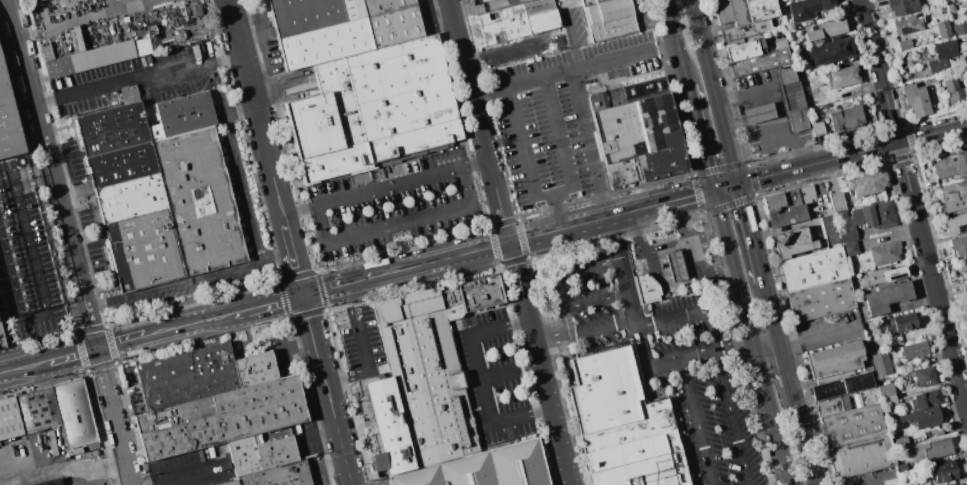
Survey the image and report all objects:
building: (485, 0)
building: (557, 0)
building: (562, 0)
building: (32, 1)
building: (384, 6)
building: (900, 7)
building: (808, 9)
building: (352, 10)
building: (304, 16)
building: (745, 17)
building: (608, 19)
building: (519, 21)
road: (70, 22)
building: (908, 25)
building: (394, 26)
building: (960, 29)
building: (826, 30)
building: (941, 30)
rooftop solar panel: (905, 31)
building: (325, 43)
road: (677, 43)
building: (904, 45)
building: (831, 50)
building: (943, 55)
building: (756, 57)
building: (97, 58)
road: (574, 68)
building: (966, 71)
building: (961, 75)
building: (844, 77)
road: (138, 78)
building: (134, 91)
road: (715, 92)
building: (954, 92)
building: (792, 99)
building: (916, 100)
road: (256, 106)
road: (241, 109)
building: (373, 109)
building: (758, 113)
road: (760, 113)
building: (185, 114)
parking lot: (560, 118)
building: (846, 119)
building: (8, 120)
building: (112, 129)
building: (818, 129)
building: (155, 132)
building: (637, 132)
road: (701, 138)
road: (794, 139)
road: (591, 143)
road: (852, 154)
building: (122, 165)
building: (950, 167)
road: (25, 170)
road: (52, 174)
road: (402, 181)
traffic signals: (739, 184)
building: (867, 184)
road: (726, 188)
road: (244, 189)
traffic signals: (714, 192)
road: (554, 194)
building: (954, 196)
building: (131, 198)
building: (179, 198)
road: (686, 198)
building: (837, 201)
parking lot: (393, 204)
road: (915, 205)
building: (788, 206)
road: (300, 208)
road: (560, 211)
building: (864, 219)
road: (399, 223)
building: (956, 225)
building: (829, 230)
road: (750, 232)
road: (288, 234)
road: (509, 242)
building: (792, 242)
road: (664, 243)
building: (959, 246)
building: (851, 249)
building: (144, 250)
building: (885, 253)
road: (692, 255)
parking lot: (25, 257)
road: (278, 260)
building: (675, 266)
building: (813, 268)
road: (402, 269)
building: (887, 274)
road: (38, 280)
road: (174, 287)
building: (964, 287)
building: (646, 288)
road: (629, 291)
road: (564, 292)
building: (480, 293)
traffic signals: (304, 295)
building: (887, 297)
building: (821, 300)
parking lot: (582, 301)
building: (966, 301)
road: (771, 313)
road: (567, 323)
building: (902, 323)
road: (599, 328)
road: (817, 337)
road: (750, 338)
road: (121, 341)
road: (550, 342)
road: (765, 345)
road: (298, 346)
traffic signals: (97, 348)
road: (734, 348)
road: (365, 349)
building: (915, 349)
road: (74, 354)
road: (682, 359)
building: (834, 362)
road: (783, 364)
building: (881, 364)
road: (720, 365)
road: (25, 366)
building: (255, 369)
road: (323, 369)
parking lot: (495, 372)
building: (427, 373)
road: (497, 375)
building: (187, 376)
building: (925, 376)
parking lot: (697, 377)
road: (480, 378)
building: (843, 386)
building: (885, 390)
building: (925, 399)
building: (888, 402)
building: (833, 407)
building: (37, 410)
building: (75, 414)
road: (113, 416)
building: (929, 416)
building: (220, 418)
building: (9, 419)
road: (699, 422)
building: (622, 424)
building: (851, 425)
building: (390, 426)
road: (319, 434)
road: (801, 434)
building: (900, 441)
building: (931, 450)
building: (260, 454)
building: (860, 456)
road: (62, 459)
building: (483, 468)
building: (901, 468)
building: (942, 472)
building: (277, 475)
road: (87, 476)
road: (182, 476)
road: (873, 481)
building: (890, 481)
building: (49, 482)
building: (228, 483)
building: (961, 484)

